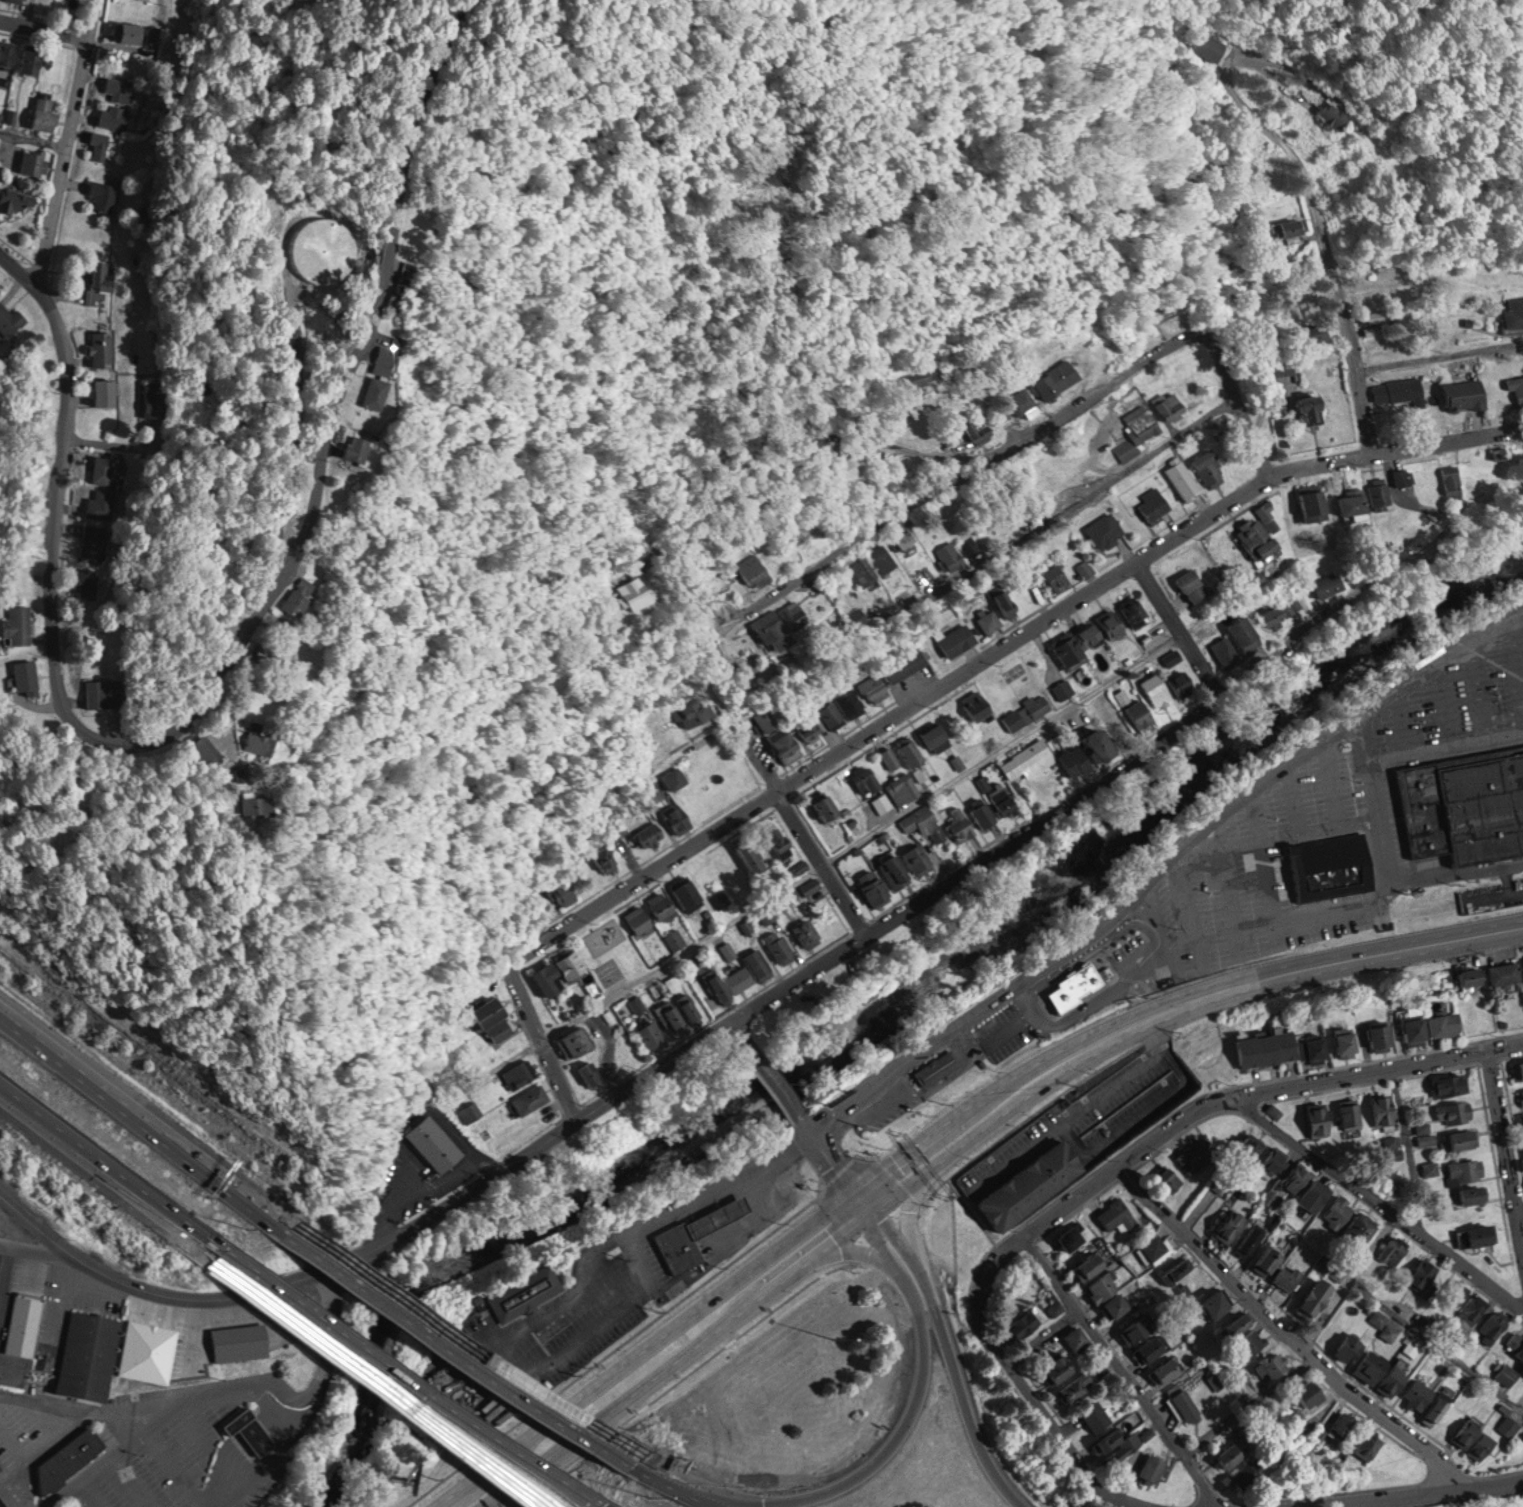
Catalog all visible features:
building: (18, 1)
road: (43, 29)
building: (129, 31)
building: (1202, 46)
building: (8, 53)
building: (35, 61)
building: (46, 115)
building: (1324, 115)
building: (114, 116)
road: (66, 139)
road: (32, 141)
building: (100, 146)
building: (34, 162)
building: (103, 195)
building: (13, 199)
building: (1279, 226)
building: (322, 248)
water tower: (305, 264)
road: (19, 267)
road: (1333, 267)
building: (101, 281)
building: (1147, 311)
building: (1510, 312)
building: (11, 319)
building: (1307, 332)
building: (103, 348)
building: (402, 358)
building: (1279, 365)
building: (1049, 378)
building: (909, 379)
building: (1512, 388)
building: (395, 390)
building: (1395, 390)
building: (107, 391)
road: (1093, 391)
building: (1456, 393)
road: (1239, 398)
building: (155, 401)
building: (1017, 403)
building: (1163, 404)
building: (1302, 408)
building: (970, 431)
building: (1133, 431)
road: (1487, 435)
building: (375, 446)
building: (1204, 466)
building: (102, 469)
building: (839, 469)
building: (1395, 475)
building: (1176, 478)
building: (1446, 479)
building: (1376, 491)
road: (1063, 499)
building: (1147, 502)
building: (1341, 502)
building: (100, 504)
building: (1304, 504)
building: (782, 529)
building: (1099, 530)
building: (1250, 530)
road: (850, 539)
building: (899, 539)
building: (94, 540)
building: (967, 544)
building: (943, 556)
building: (876, 558)
building: (1083, 567)
building: (745, 570)
building: (856, 572)
building: (1051, 576)
building: (91, 583)
building: (1185, 585)
building: (1322, 585)
building: (629, 593)
building: (318, 596)
building: (1131, 607)
building: (993, 610)
building: (1275, 613)
building: (784, 615)
building: (849, 619)
building: (24, 624)
road: (1178, 629)
building: (761, 631)
building: (1238, 635)
building: (1082, 638)
building: (949, 640)
road: (251, 642)
building: (1221, 651)
building: (899, 665)
road: (1515, 666)
building: (40, 678)
building: (1161, 686)
road: (1479, 688)
building: (869, 689)
building: (120, 692)
street lamp: (1502, 692)
road: (1444, 702)
building: (973, 707)
building: (838, 710)
street lamp: (1425, 710)
building: (688, 711)
road: (898, 714)
building: (1135, 714)
building: (759, 718)
road: (1406, 719)
building: (803, 726)
building: (931, 737)
building: (294, 738)
road: (745, 744)
building: (780, 745)
road: (1446, 746)
building: (241, 748)
building: (906, 751)
building: (1055, 756)
building: (887, 757)
building: (681, 778)
building: (863, 779)
road: (1332, 780)
street lamp: (1363, 781)
building: (900, 787)
road: (1295, 796)
road: (1377, 798)
building: (881, 803)
building: (305, 804)
building: (989, 805)
street lamp: (1278, 805)
building: (822, 807)
building: (1481, 807)
building: (1419, 809)
road: (1044, 814)
building: (684, 816)
building: (920, 822)
building: (957, 825)
road: (1289, 832)
building: (654, 835)
road: (863, 837)
building: (765, 843)
building: (611, 857)
building: (912, 857)
road: (823, 861)
building: (1329, 862)
road: (1163, 866)
building: (798, 867)
building: (887, 869)
road: (1458, 873)
building: (733, 876)
street lamp: (1212, 890)
building: (569, 891)
building: (869, 891)
building: (691, 894)
road: (1236, 900)
building: (665, 905)
road: (1192, 908)
road: (1277, 917)
building: (641, 919)
building: (677, 939)
building: (782, 945)
parking lot: (1128, 946)
road: (1093, 949)
building: (761, 964)
building: (1502, 971)
building: (561, 972)
building: (1465, 976)
building: (734, 982)
road: (1116, 982)
building: (1072, 986)
road: (1023, 988)
building: (494, 1012)
building: (680, 1013)
building: (1440, 1022)
road: (1014, 1024)
building: (1409, 1028)
parking lot: (1005, 1031)
road: (743, 1032)
road: (1160, 1032)
building: (654, 1035)
building: (1375, 1035)
building: (1336, 1042)
building: (578, 1043)
building: (1276, 1043)
building: (1259, 1047)
building: (1308, 1048)
building: (1240, 1051)
building: (935, 1066)
building: (1516, 1069)
building: (522, 1074)
road: (778, 1079)
building: (1441, 1085)
road: (927, 1089)
building: (1520, 1095)
road: (1226, 1096)
building: (532, 1099)
parking lot: (1133, 1104)
parking lot: (1082, 1107)
building: (895, 1110)
parking lot: (895, 1110)
building: (1273, 1110)
building: (1378, 1110)
building: (471, 1111)
building: (1448, 1111)
building: (1347, 1115)
road: (142, 1116)
road: (1139, 1116)
road: (1070, 1118)
building: (1520, 1119)
building: (1314, 1120)
road: (1508, 1132)
building: (1423, 1133)
building: (1454, 1139)
road: (949, 1140)
building: (438, 1144)
building: (1247, 1147)
building: (1393, 1147)
road: (1410, 1149)
building: (1192, 1153)
road: (834, 1158)
building: (1268, 1160)
building: (1460, 1170)
road: (104, 1174)
building: (1290, 1178)
building: (1165, 1179)
building: (1028, 1182)
building: (1467, 1194)
building: (1306, 1195)
road: (1379, 1199)
road: (708, 1202)
traffic signals: (866, 1202)
road: (1521, 1206)
road: (911, 1211)
building: (1331, 1211)
road: (770, 1214)
building: (1117, 1216)
road: (419, 1217)
road: (36, 1225)
building: (1224, 1226)
building: (1351, 1229)
building: (1469, 1235)
building: (1068, 1237)
building: (1241, 1240)
building: (1153, 1247)
road: (36, 1248)
building: (677, 1248)
road: (851, 1251)
building: (1389, 1251)
road: (635, 1253)
building: (1257, 1260)
building: (1082, 1266)
building: (1171, 1270)
building: (1415, 1273)
building: (1281, 1275)
road: (609, 1277)
road: (1350, 1279)
building: (1452, 1291)
building: (524, 1294)
building: (1104, 1295)
building: (1305, 1297)
building: (1206, 1305)
building: (1055, 1308)
road: (533, 1317)
building: (1482, 1317)
building: (25, 1324)
building: (1018, 1324)
building: (1225, 1327)
building: (1133, 1328)
road: (1284, 1328)
road: (332, 1332)
road: (1046, 1333)
building: (1386, 1333)
building: (1074, 1339)
road: (461, 1340)
building: (1247, 1341)
building: (243, 1342)
road: (1437, 1343)
building: (1515, 1343)
building: (1147, 1347)
building: (1340, 1348)
building: (1408, 1348)
building: (151, 1351)
road: (952, 1351)
building: (91, 1355)
road: (556, 1355)
building: (1268, 1365)
road: (1124, 1367)
building: (1052, 1369)
building: (1159, 1371)
building: (1372, 1372)
building: (1522, 1372)
building: (1505, 1374)
building: (1080, 1381)
road: (225, 1388)
road: (459, 1392)
building: (1410, 1394)
building: (1296, 1401)
building: (1182, 1403)
road: (1043, 1404)
road: (1250, 1406)
building: (1426, 1410)
building: (1091, 1416)
road: (905, 1418)
building: (1333, 1425)
building: (1508, 1425)
building: (253, 1431)
building: (1465, 1439)
building: (1115, 1444)
building: (1360, 1444)
road: (128, 1449)
building: (73, 1457)
building: (1220, 1457)
road: (507, 1462)
road: (527, 1462)
building: (2, 1466)
building: (1147, 1469)
road: (672, 1471)
road: (1406, 1493)
road: (727, 1496)
building: (5, 1499)

